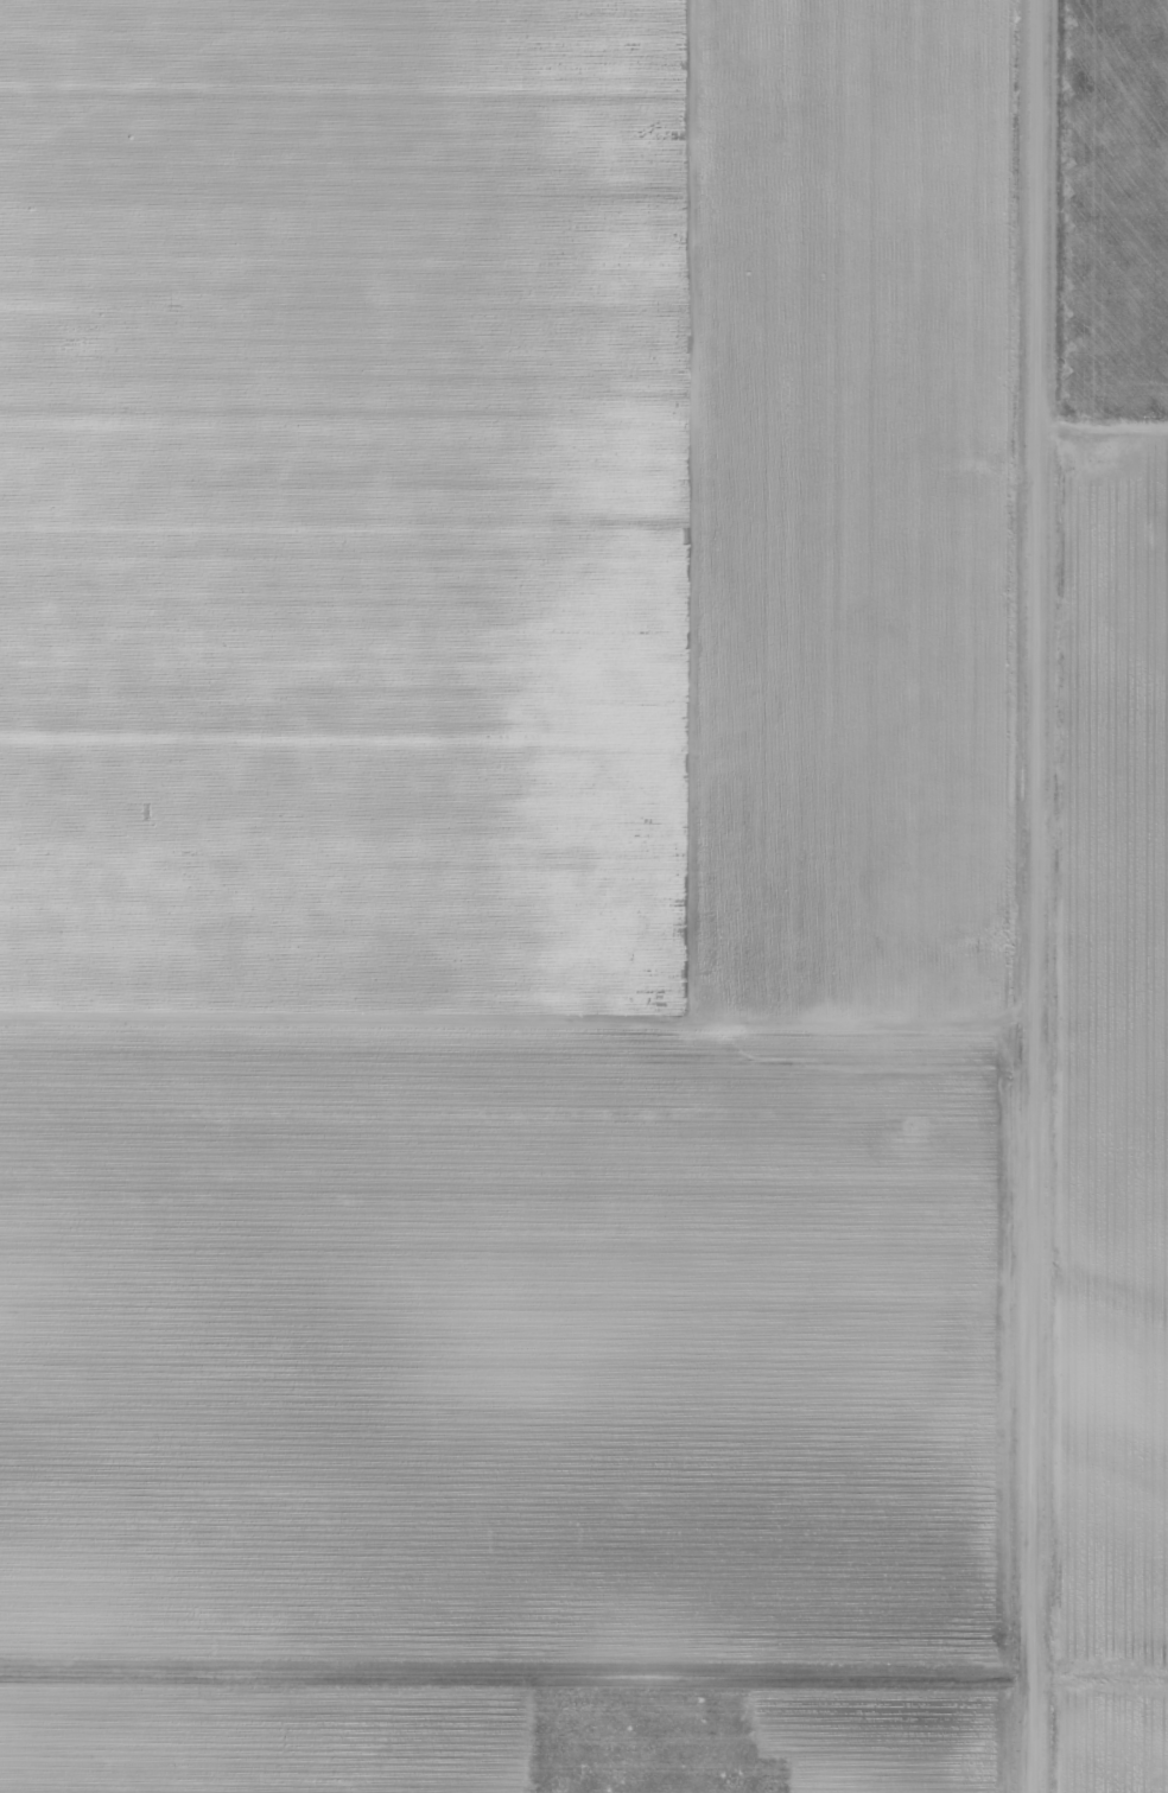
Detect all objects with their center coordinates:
road: (1028, 896)

